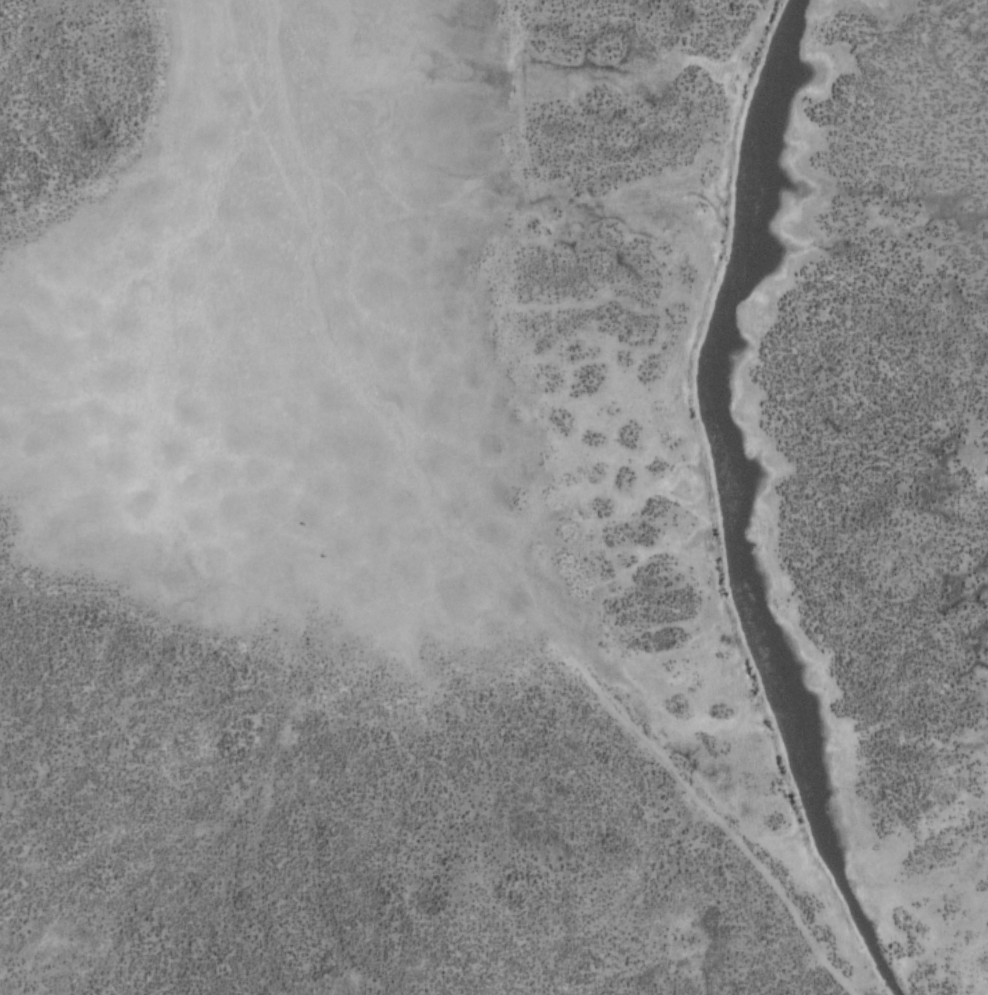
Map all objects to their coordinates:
road: (724, 822)

